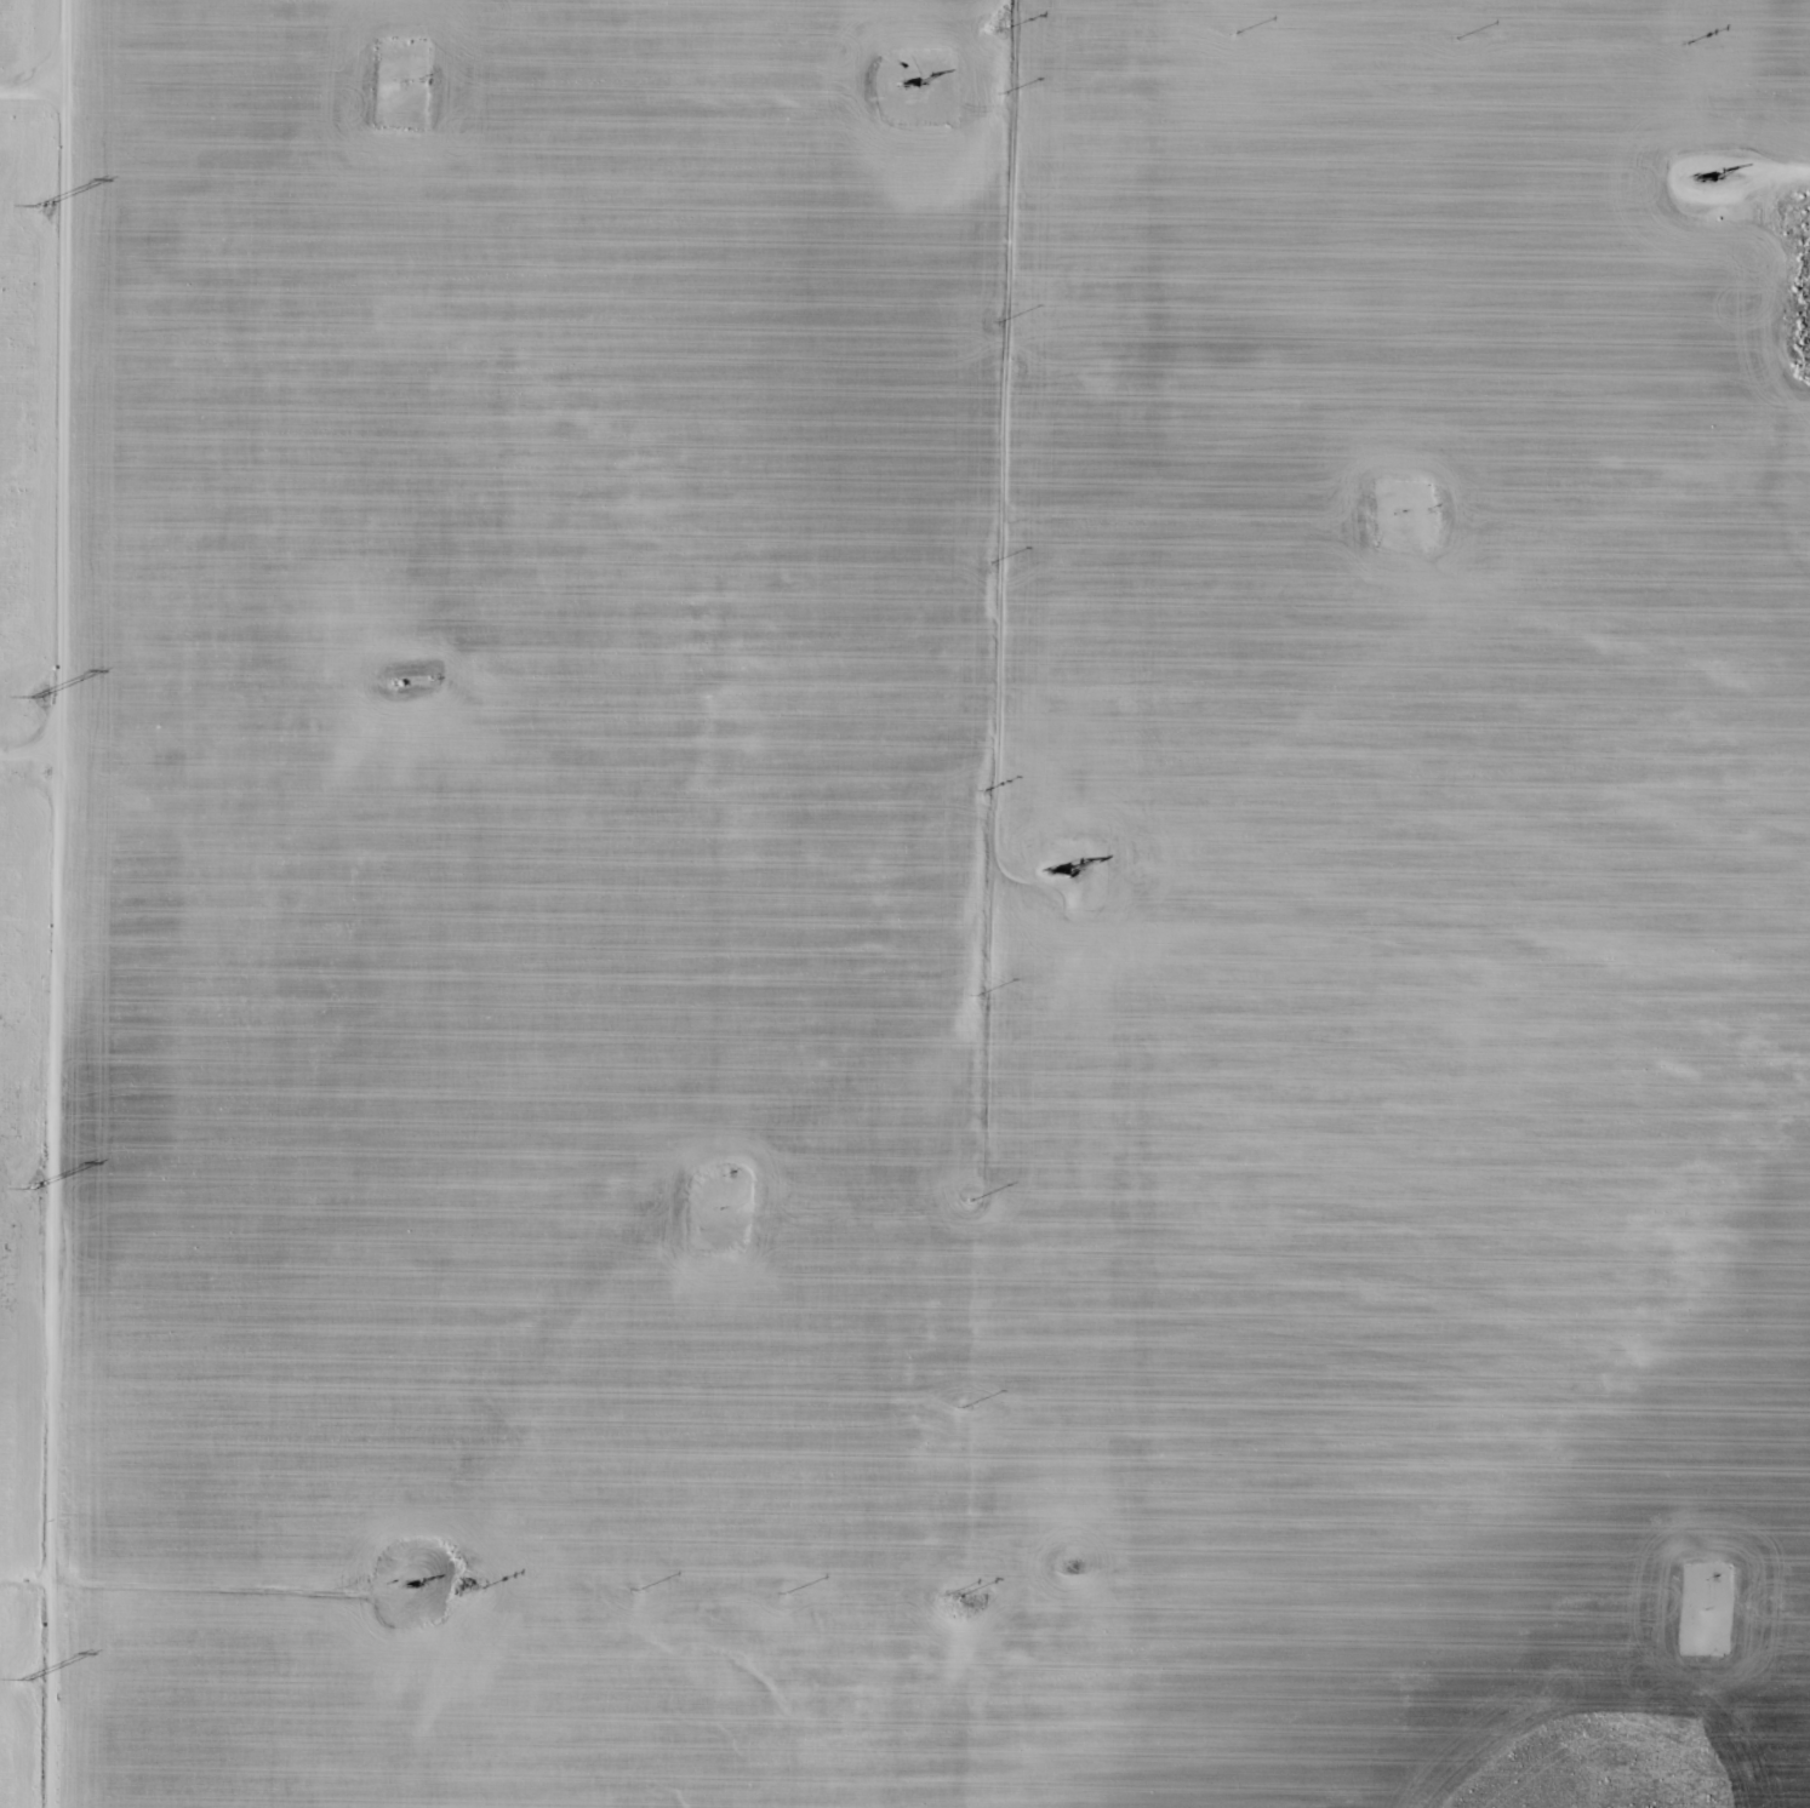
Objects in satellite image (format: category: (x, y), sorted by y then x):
petroleum well: (904, 87)
petroleum well: (1702, 178)
road: (1004, 493)
road: (30, 737)
petroleum well: (1056, 871)
road: (58, 903)
petroleum well: (416, 1586)

